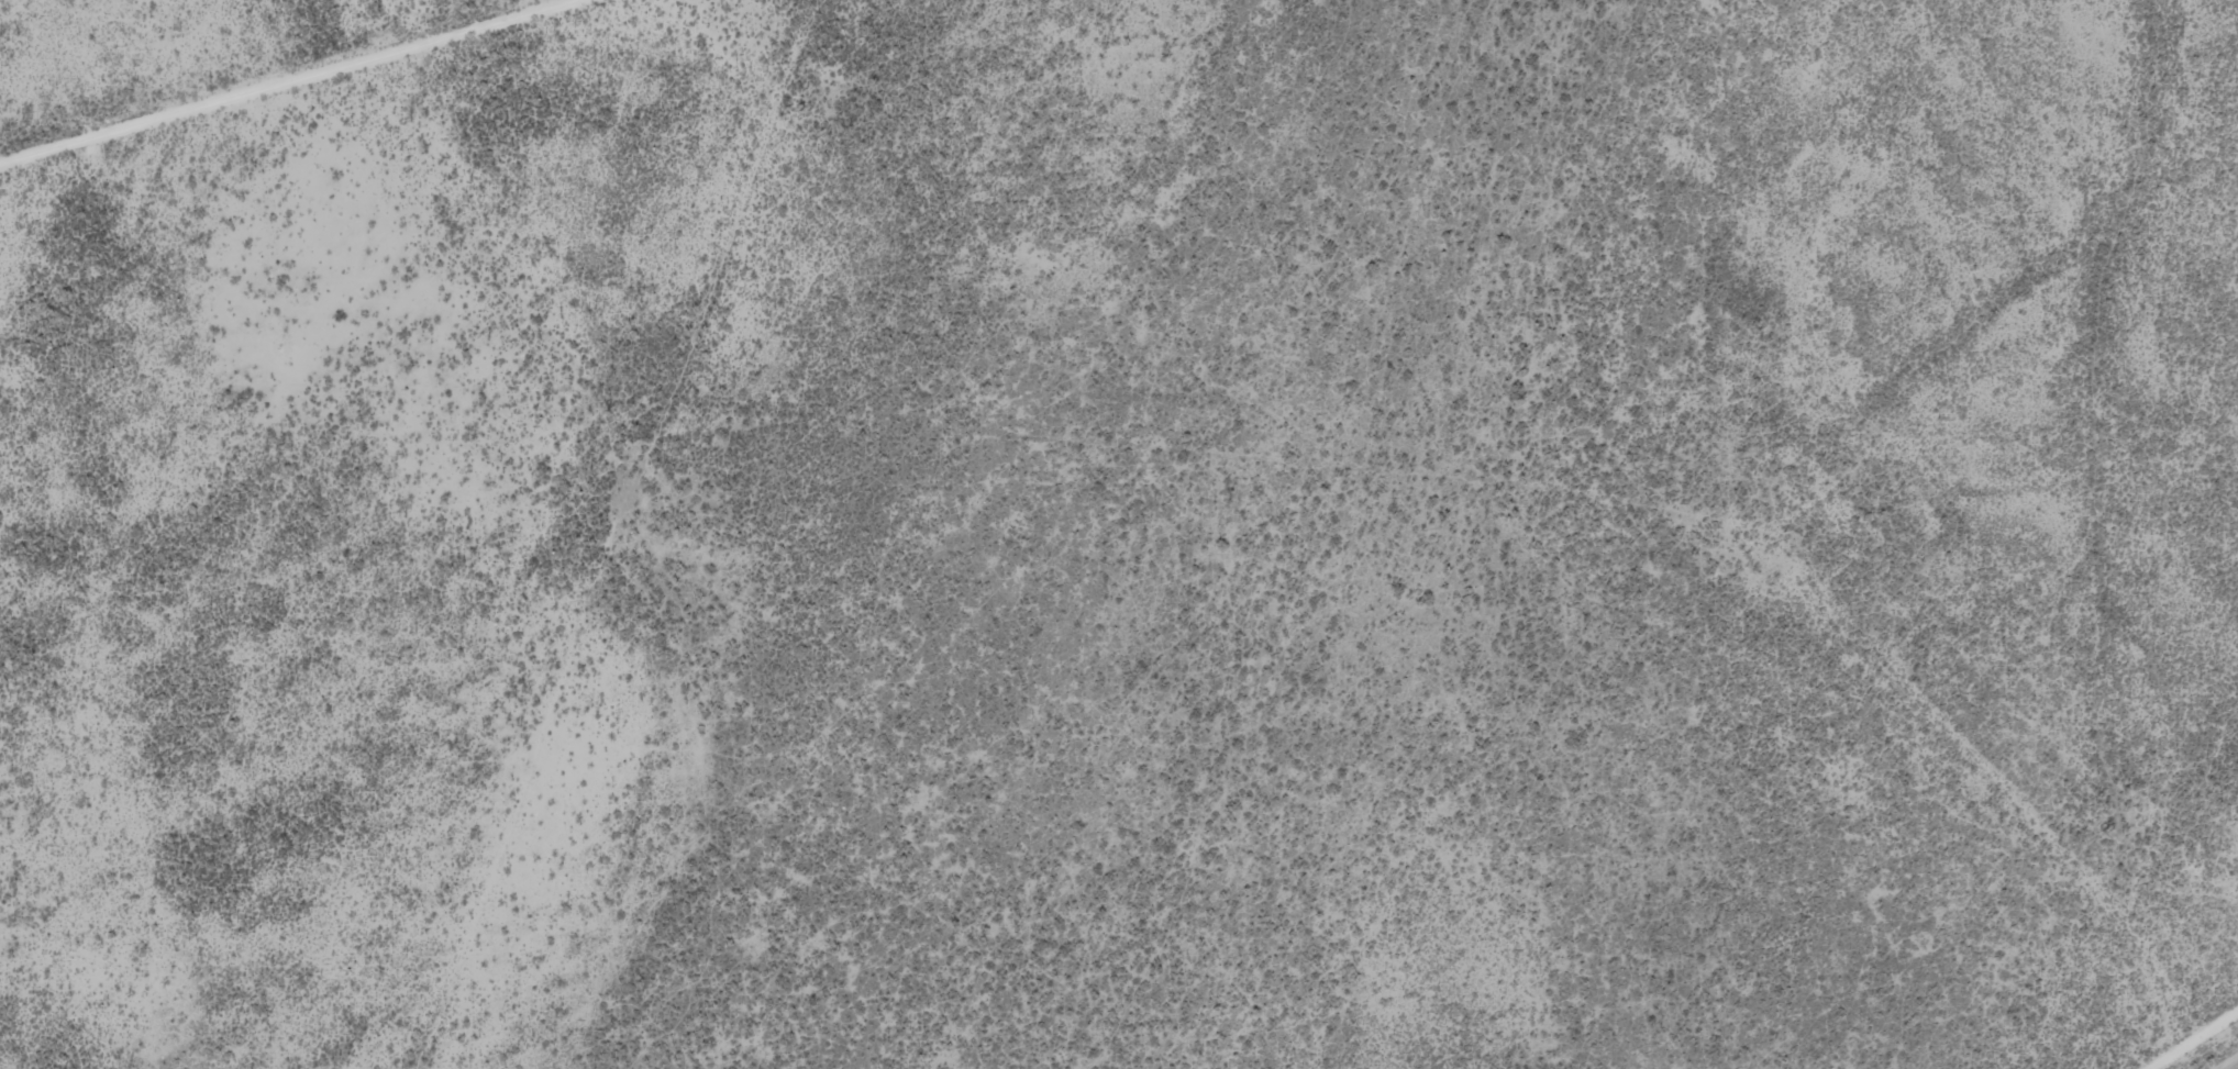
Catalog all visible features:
road: (318, 90)

